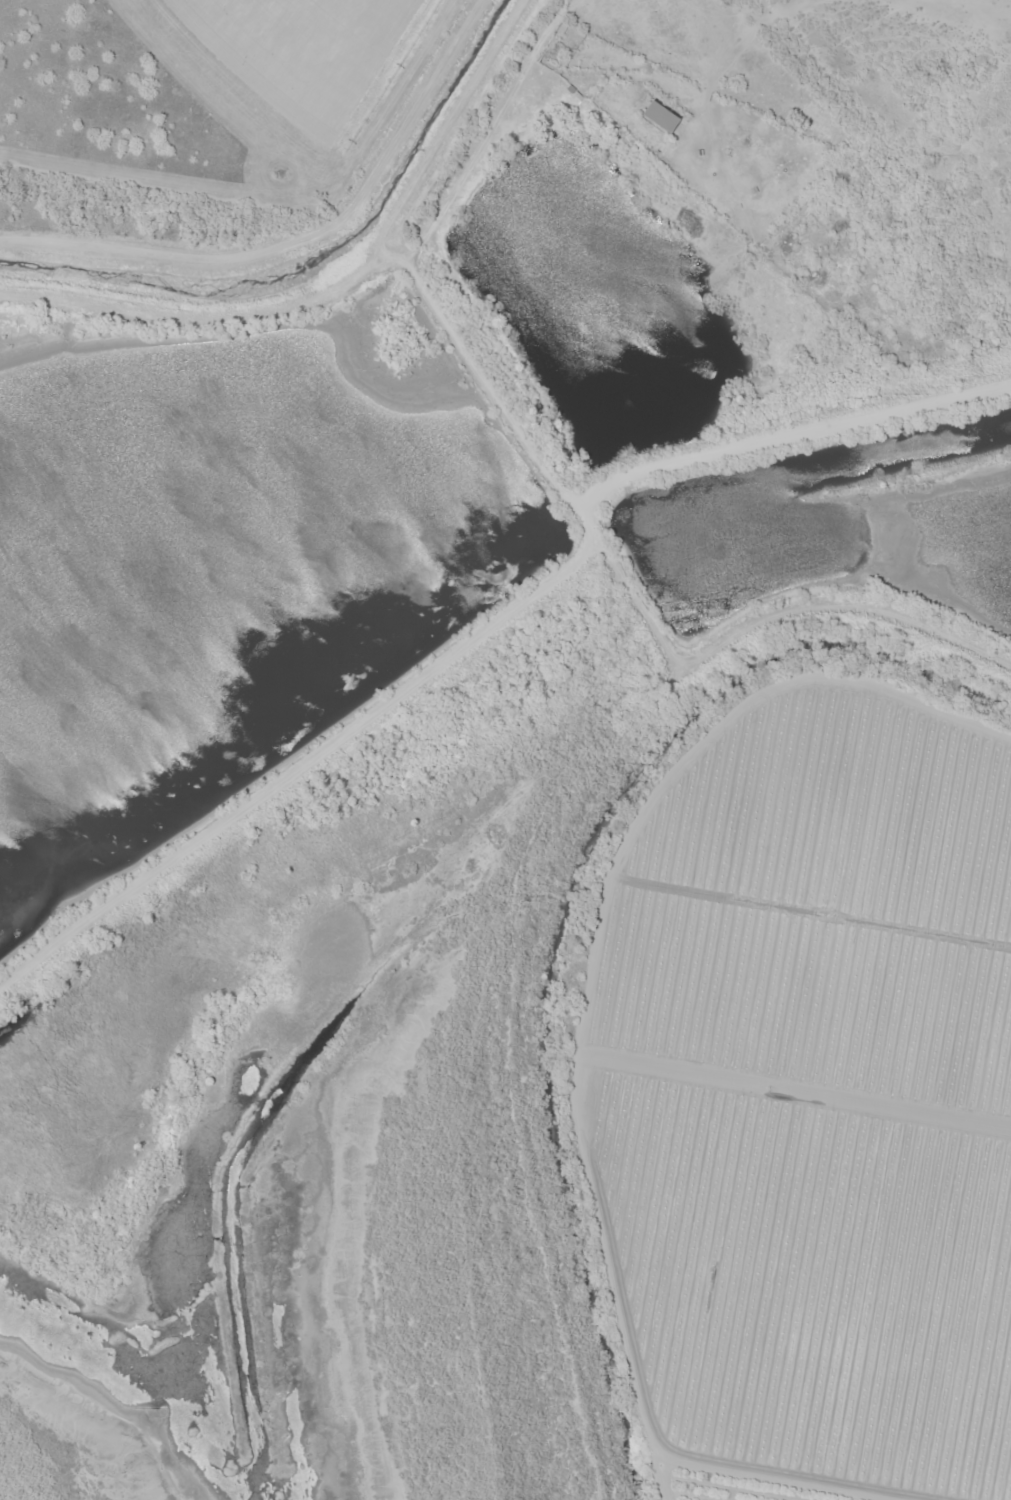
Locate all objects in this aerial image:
building: (662, 117)
road: (293, 231)
road: (765, 1498)

